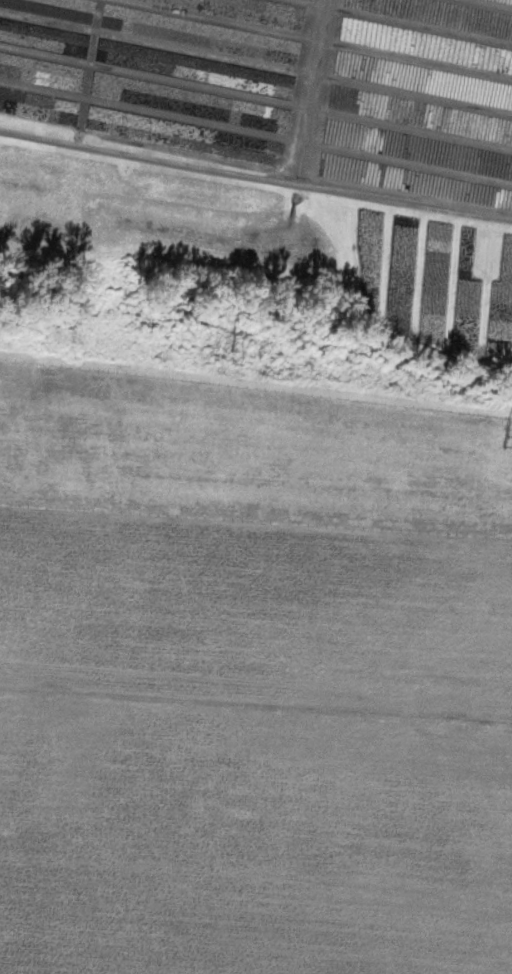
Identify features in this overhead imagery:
power tower: (230, 360)
power tower: (509, 440)

